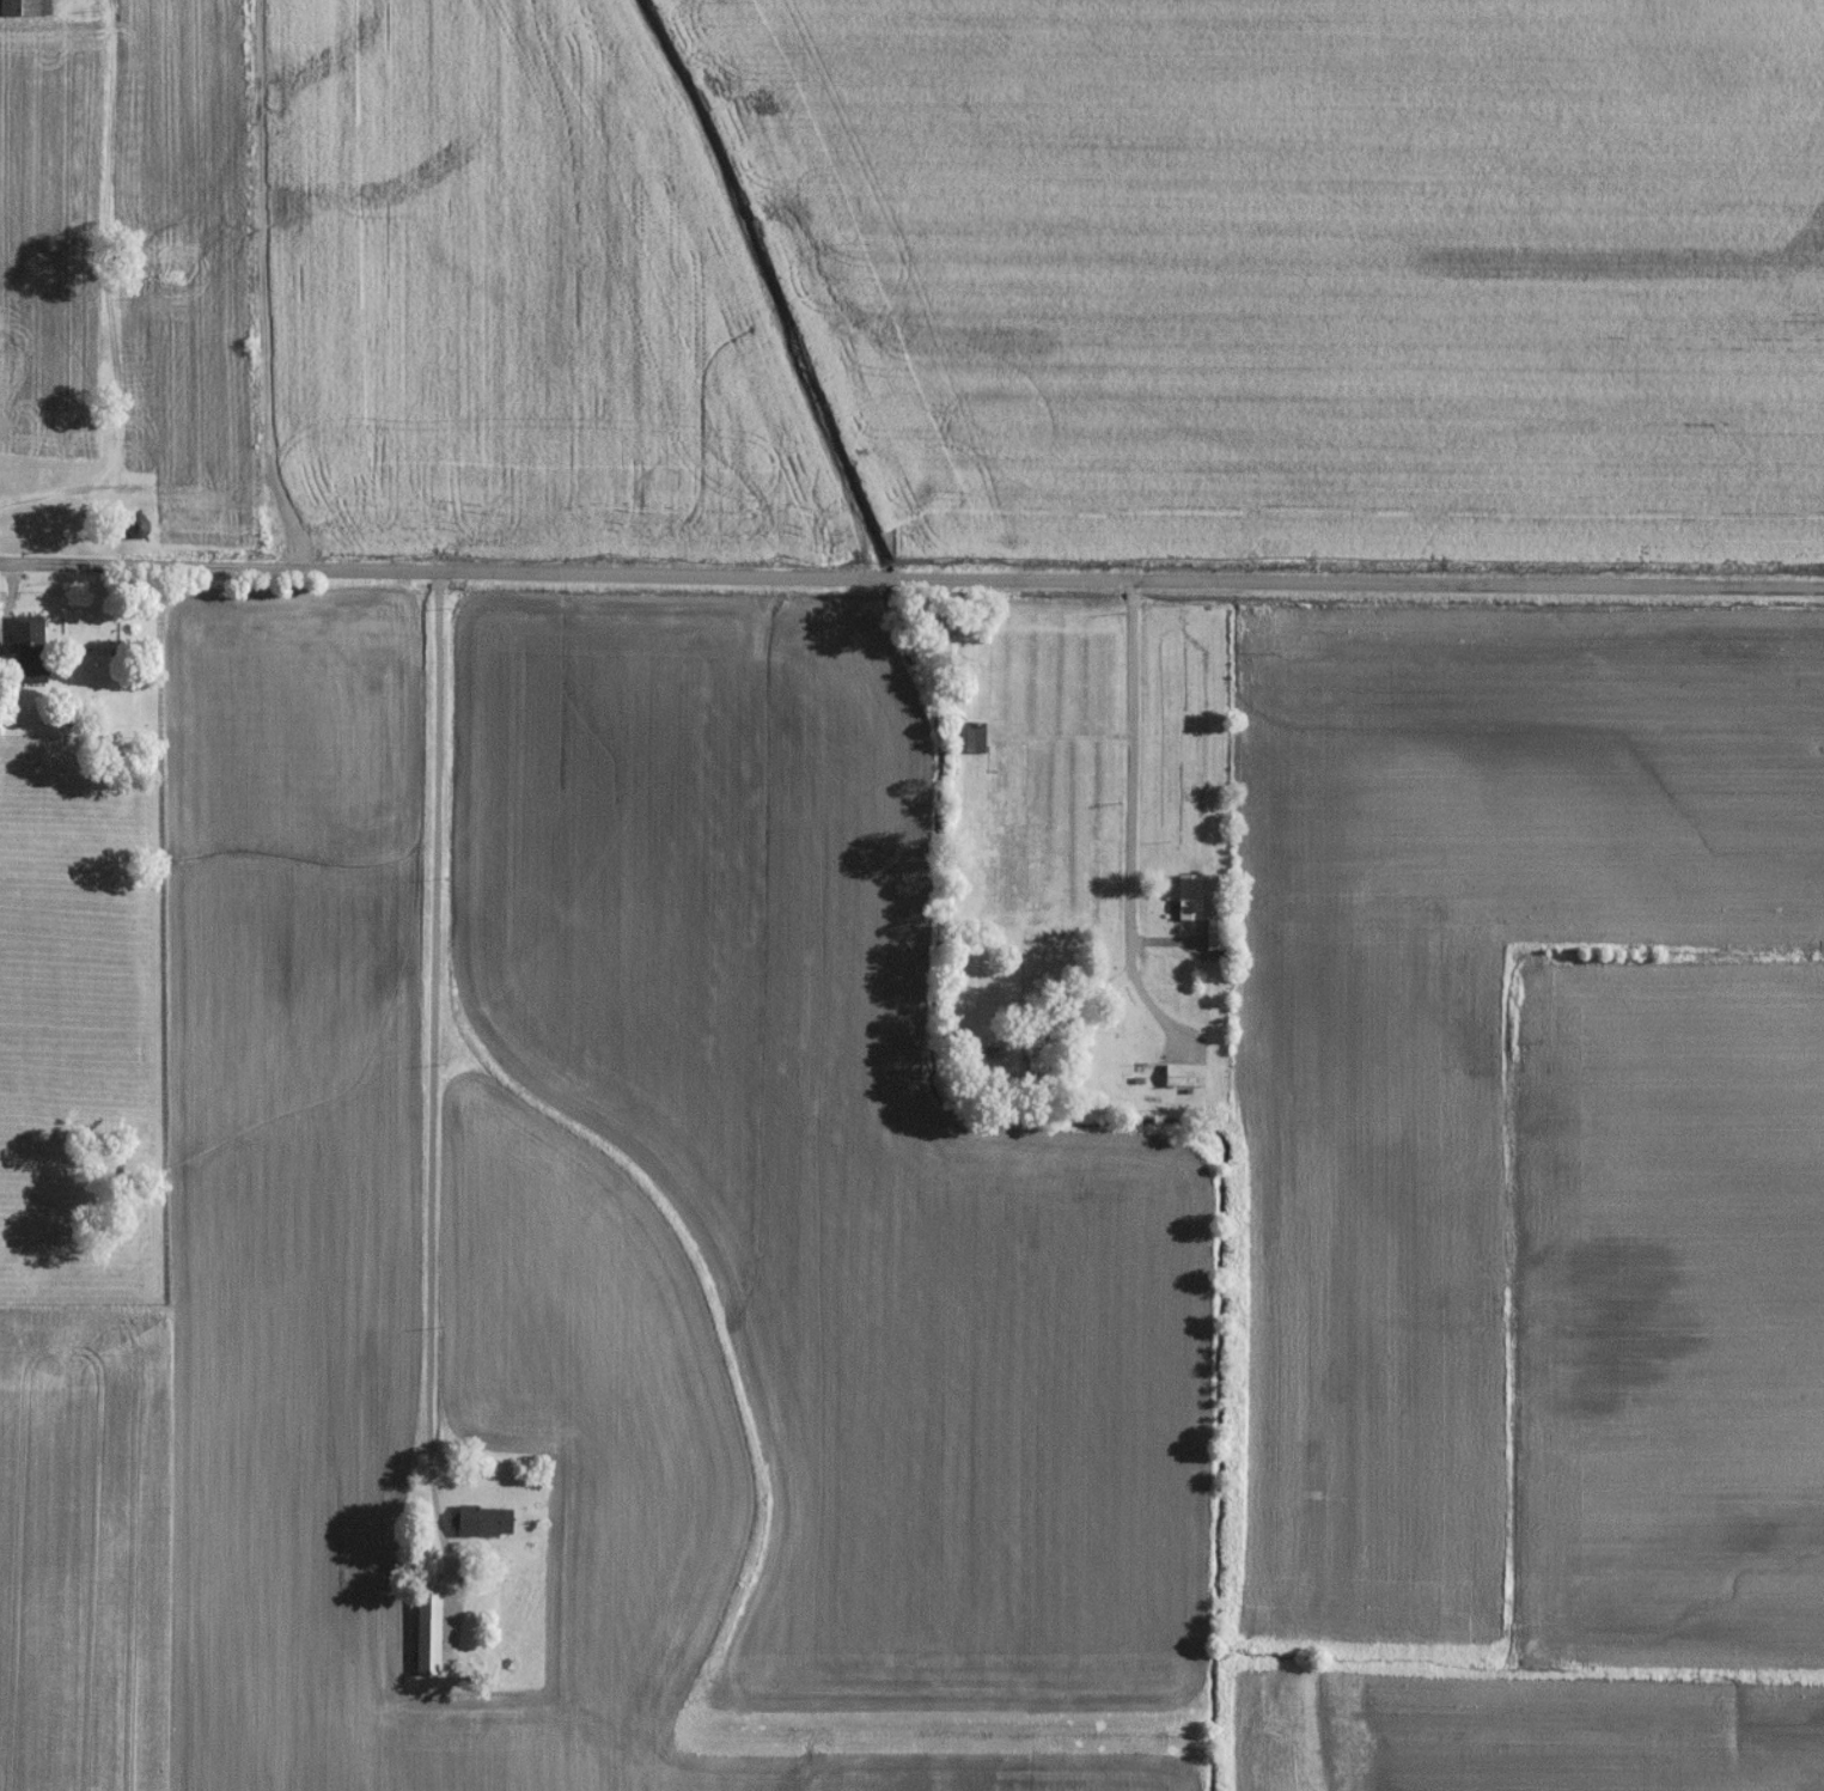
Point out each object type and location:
building: (26, 8)
road: (50, 505)
road: (911, 580)
building: (30, 652)
building: (976, 741)
road: (1133, 784)
building: (1191, 900)
building: (1216, 937)
road: (1056, 1037)
road: (434, 1067)
building: (1185, 1078)
building: (477, 1523)
building: (429, 1635)

